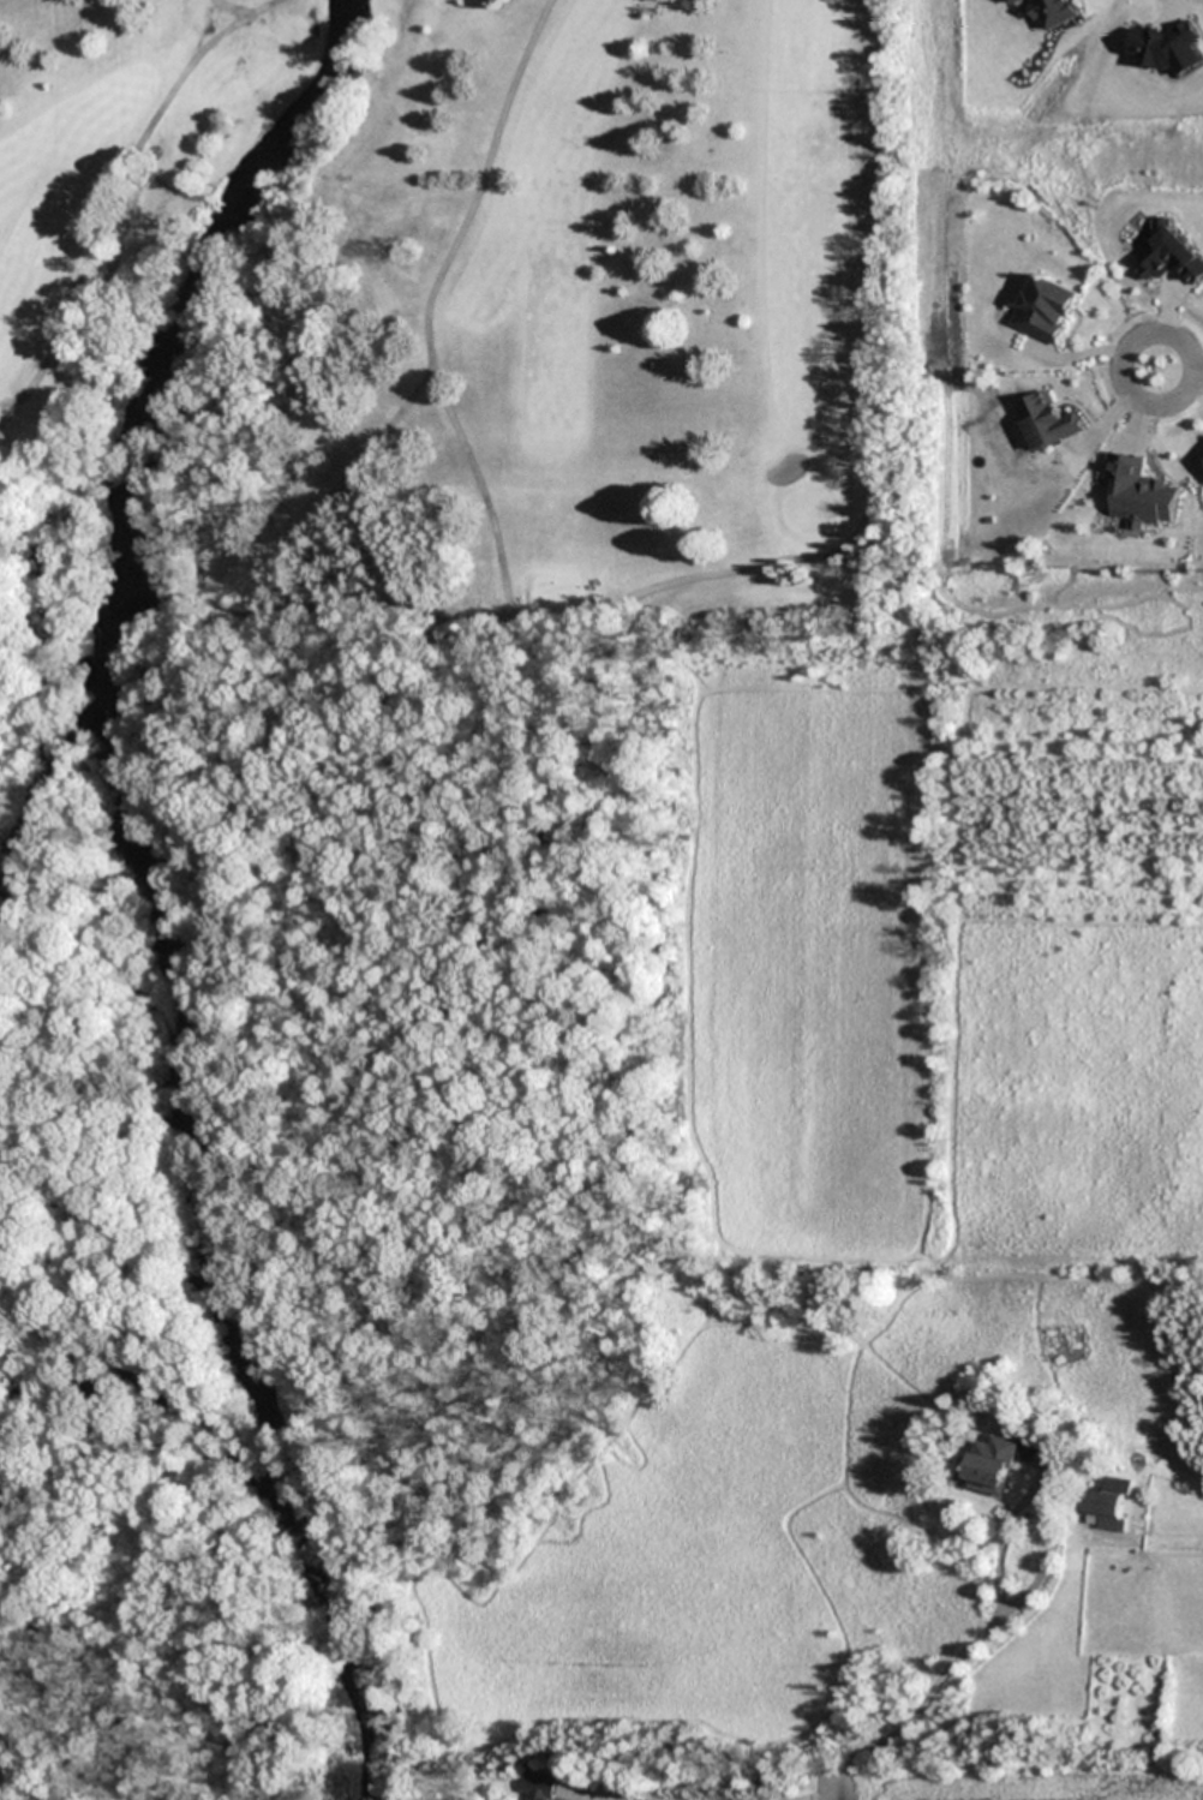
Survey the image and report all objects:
road: (226, 10)
road: (113, 192)
building: (1168, 255)
road: (424, 304)
building: (1046, 309)
road: (1161, 333)
park: (460, 335)
road: (1196, 377)
building: (1047, 420)
road: (689, 578)
river: (157, 889)
building: (990, 1466)
building: (6, 1472)
building: (1108, 1503)
crop: (1006, 1780)
building: (541, 1784)
road: (828, 1789)

